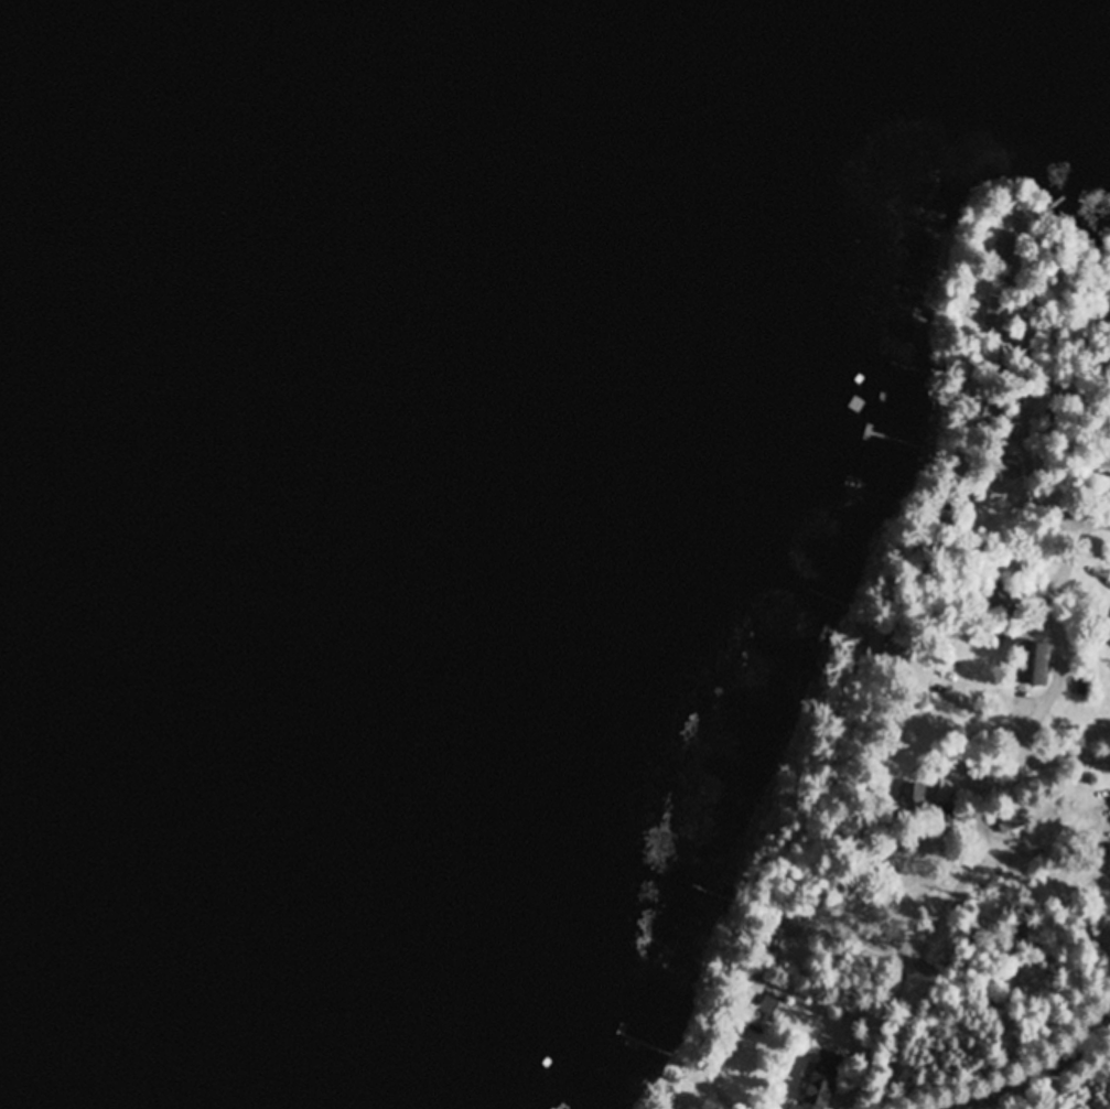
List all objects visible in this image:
road: (1031, 419)
building: (1036, 664)
road: (1068, 763)
building: (923, 804)
building: (1009, 821)
road: (999, 822)
building: (773, 1006)
building: (822, 1080)
road: (1001, 1086)
building: (794, 1108)

